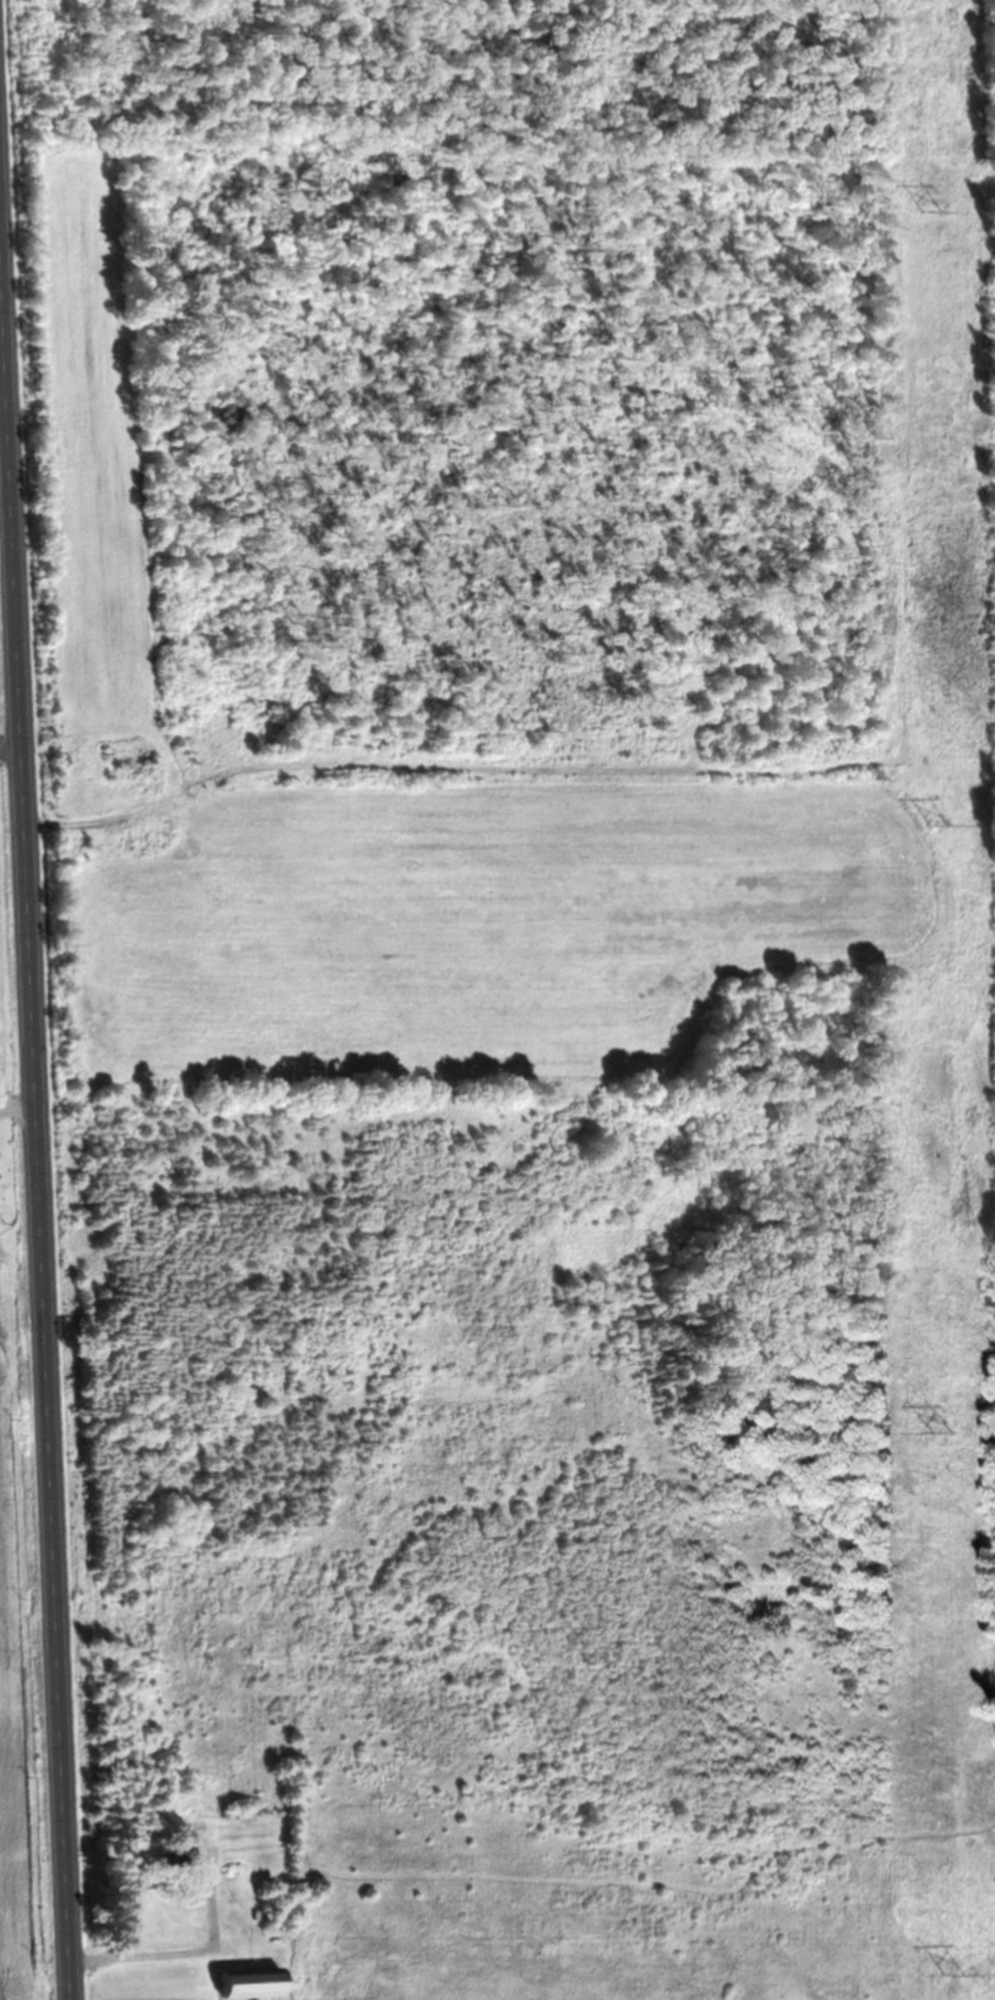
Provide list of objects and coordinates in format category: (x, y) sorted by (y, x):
power tower: (927, 210)
power tower: (938, 825)
road: (36, 1111)
power tower: (942, 1432)
road: (178, 1945)
power tower: (953, 1975)
building: (256, 1984)

